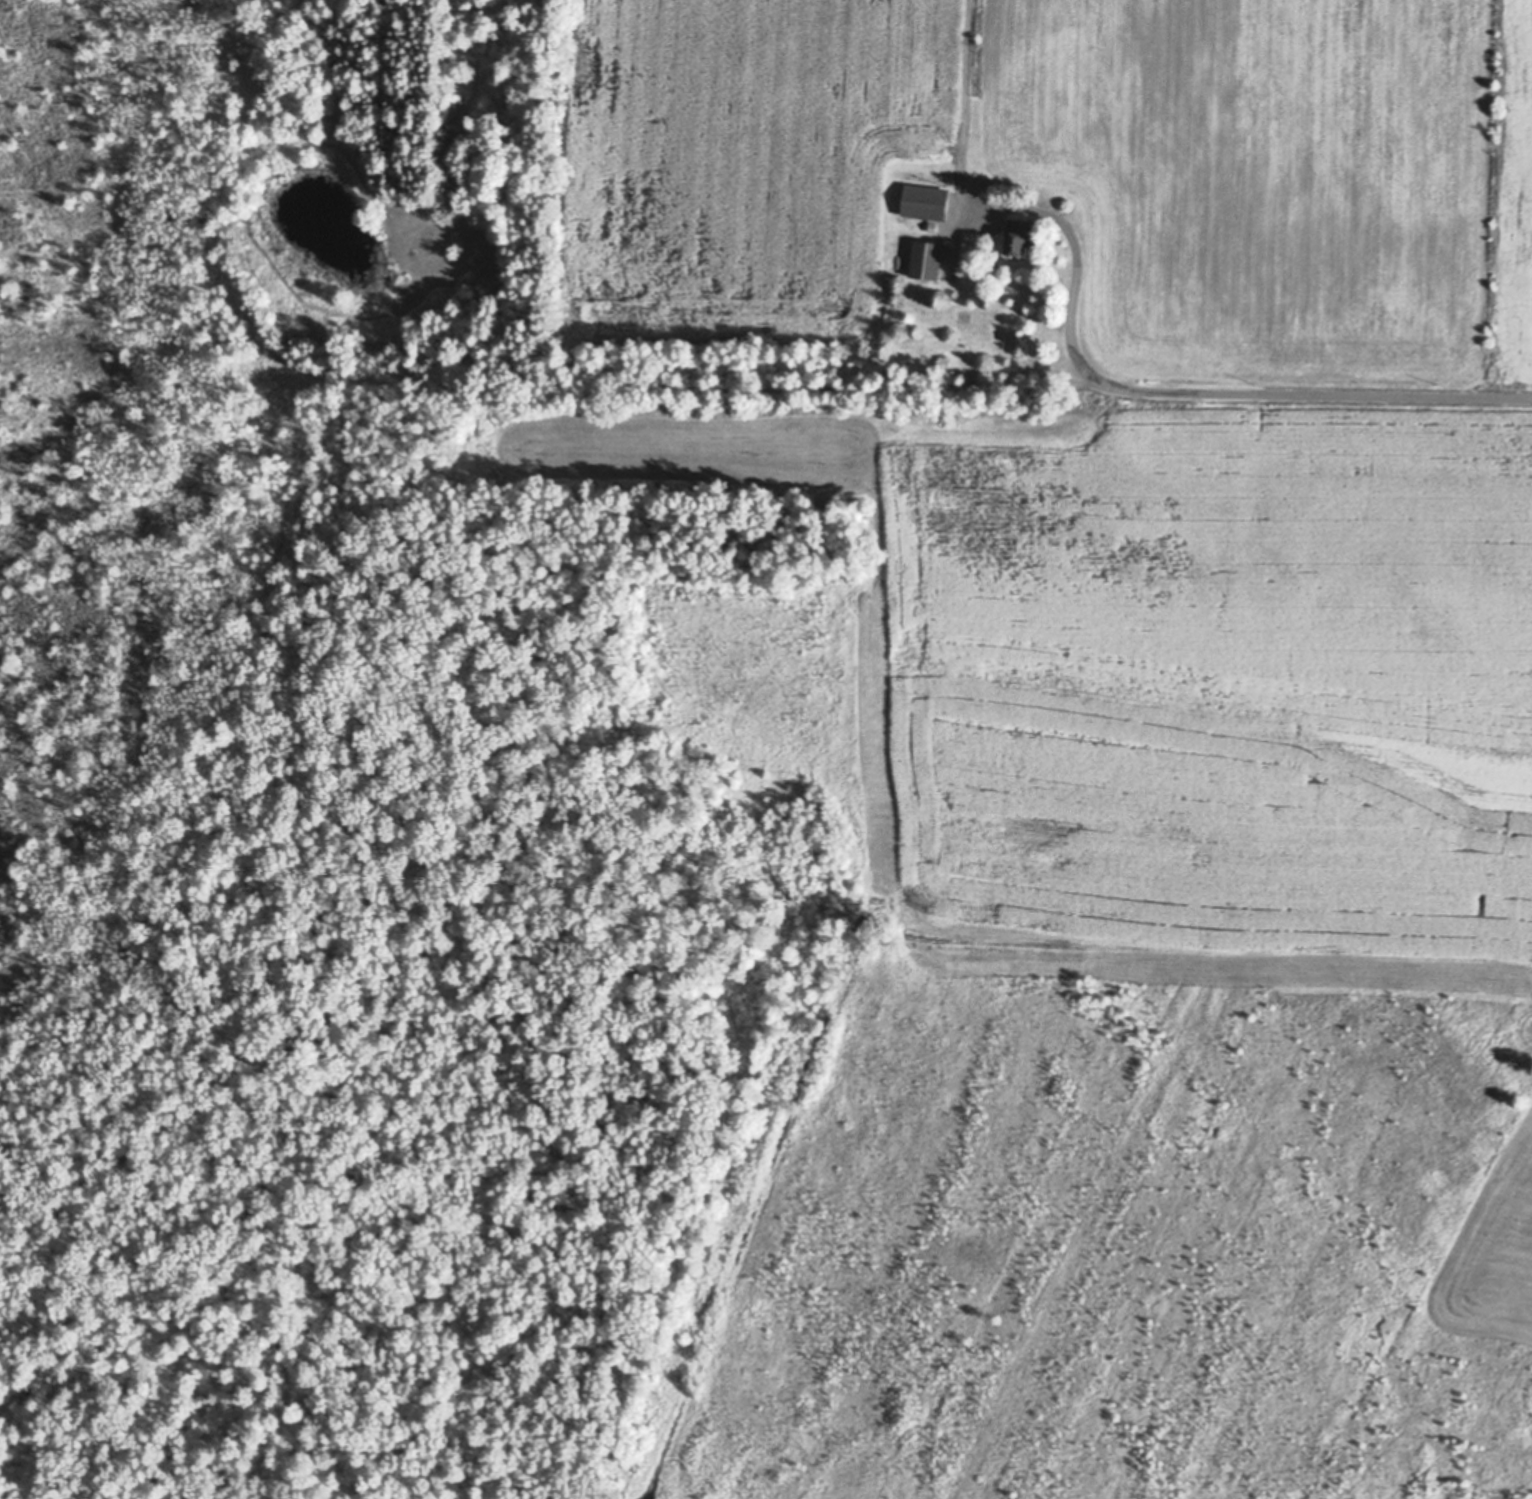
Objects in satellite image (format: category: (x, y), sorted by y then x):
building: (928, 140)
crop: (1073, 172)
building: (488, 177)
building: (925, 199)
building: (497, 221)
building: (932, 225)
building: (1020, 232)
building: (926, 257)
building: (895, 288)
road: (1251, 394)
crop: (1230, 692)

